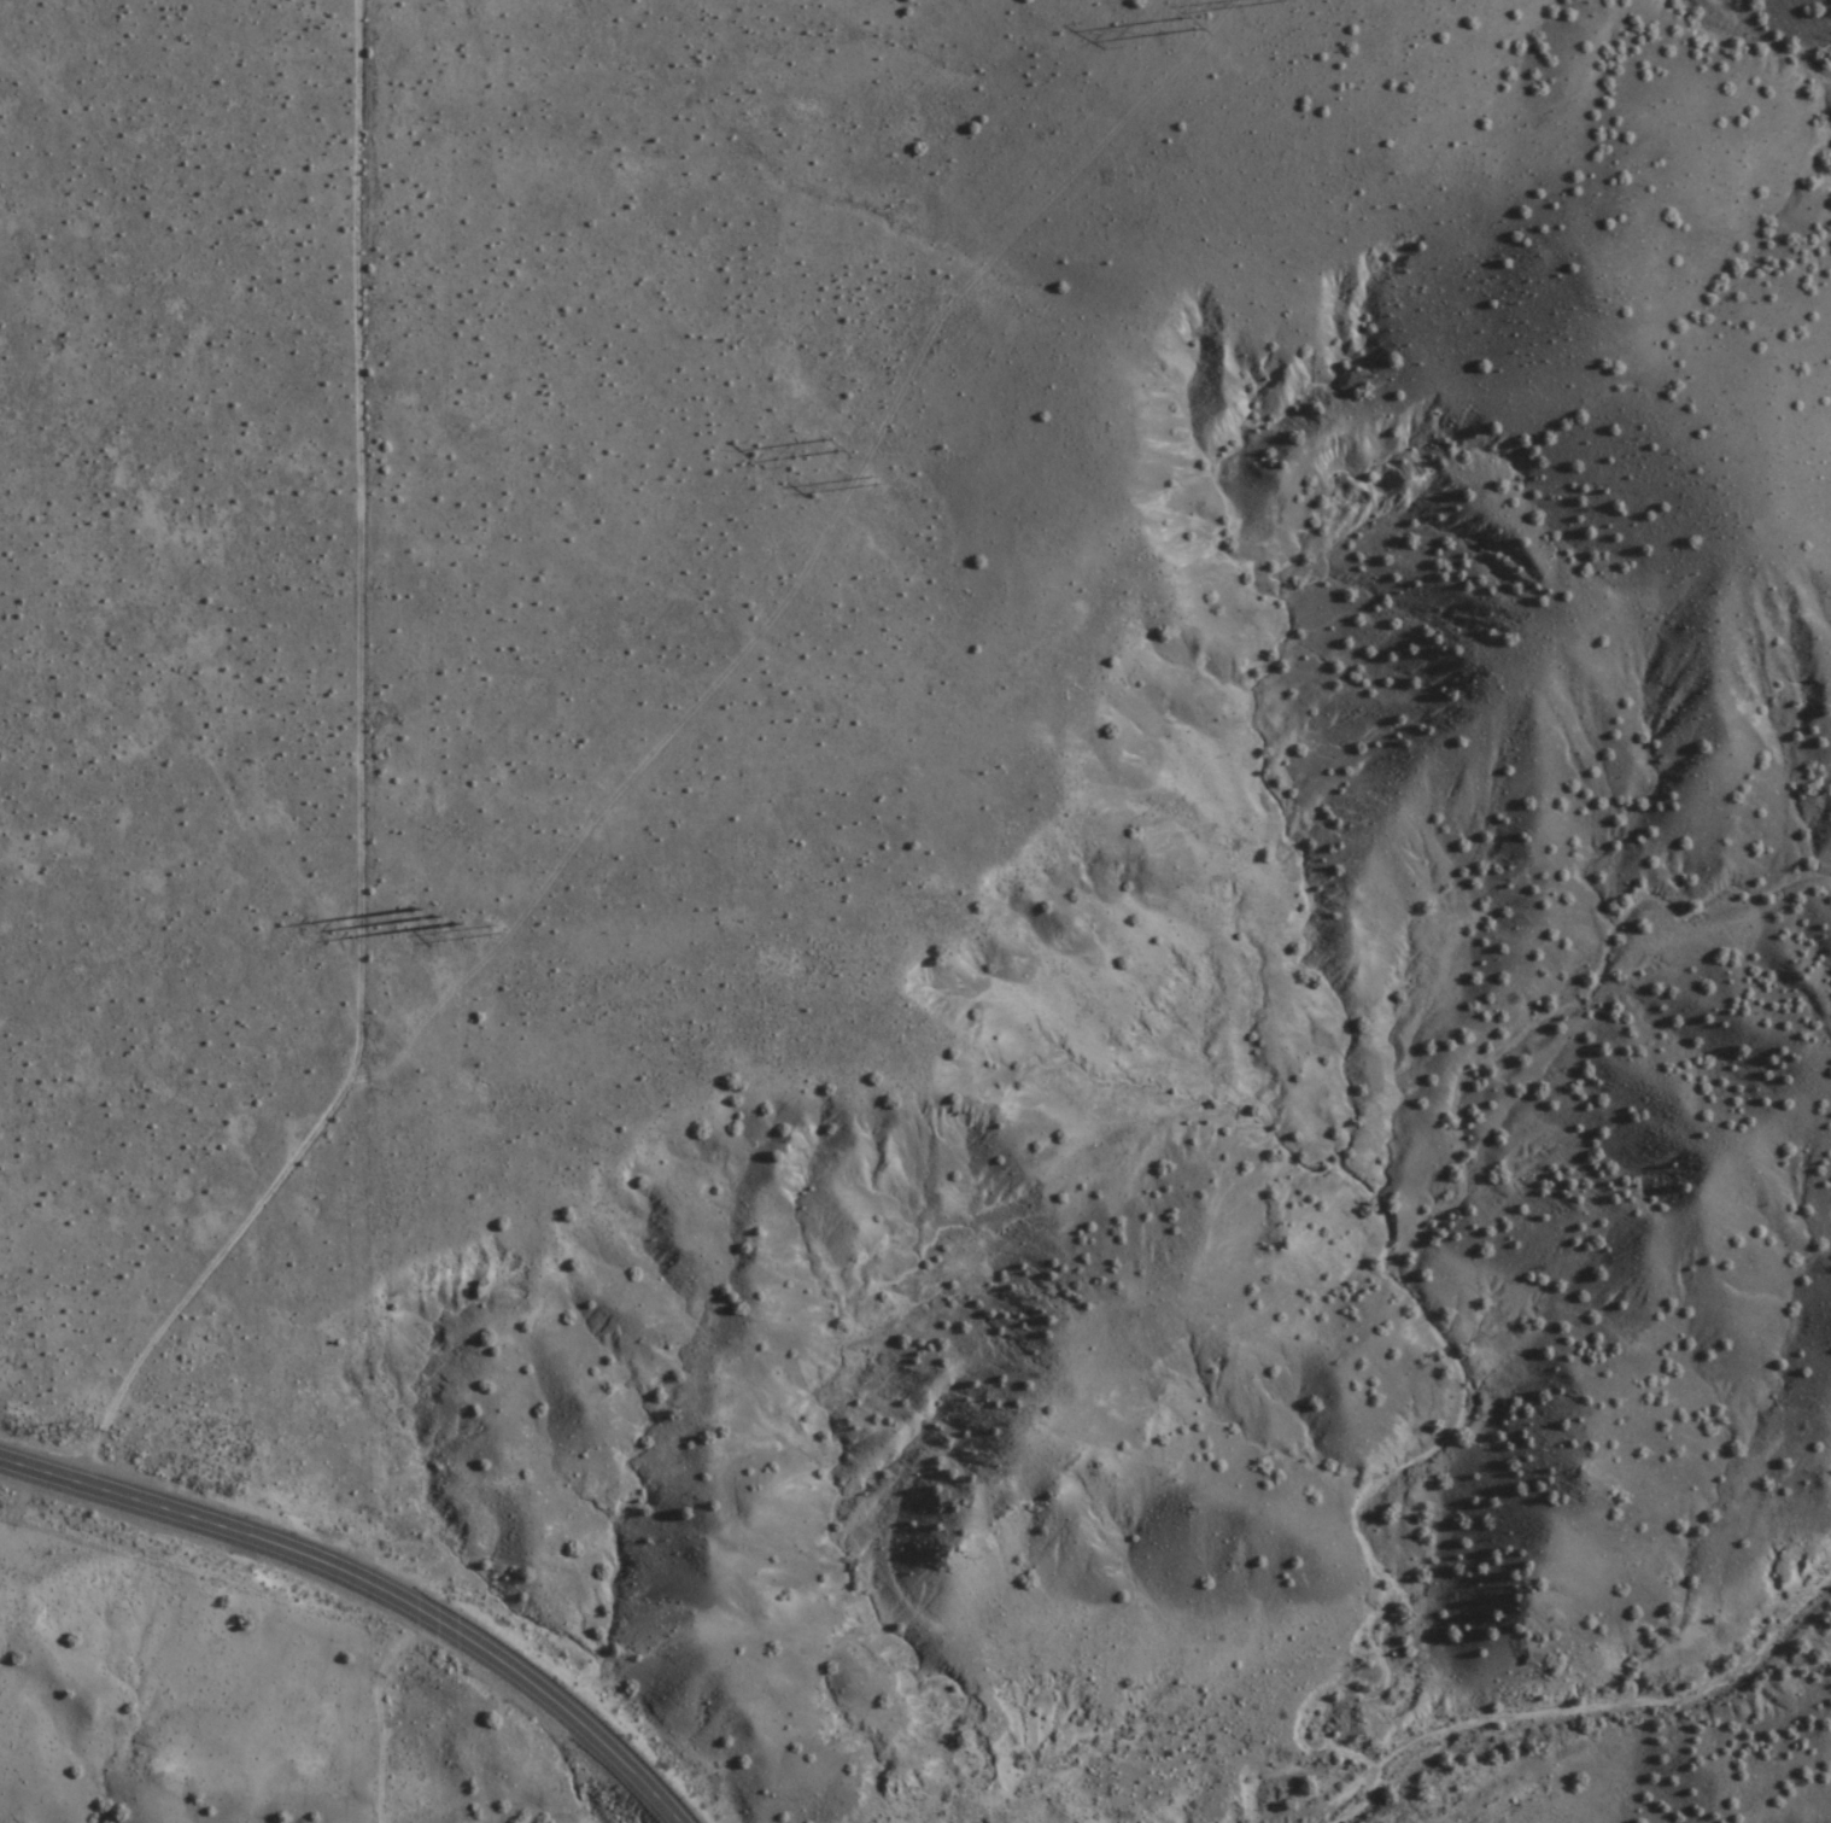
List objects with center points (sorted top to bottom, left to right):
power tower: (1184, 21)
power tower: (1227, 55)
power tower: (827, 445)
power tower: (868, 483)
road: (362, 784)
power tower: (432, 913)
power tower: (495, 930)
road: (369, 1588)

